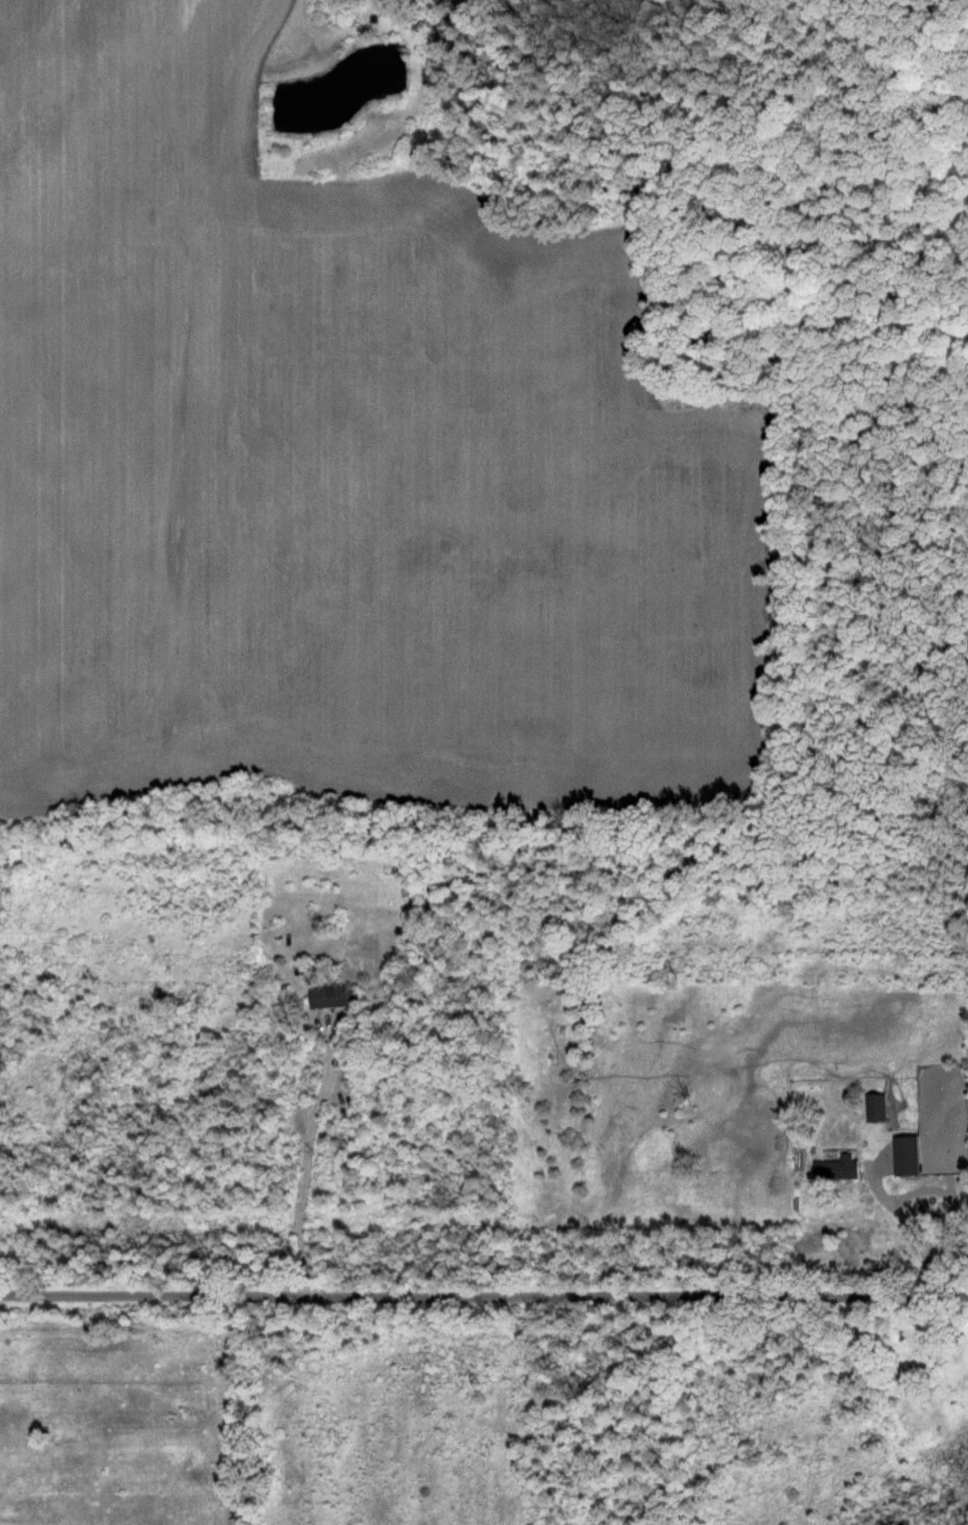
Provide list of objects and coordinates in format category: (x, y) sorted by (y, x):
building: (332, 997)
building: (909, 1156)
road: (304, 1166)
building: (840, 1170)
road: (909, 1231)
road: (484, 1297)

